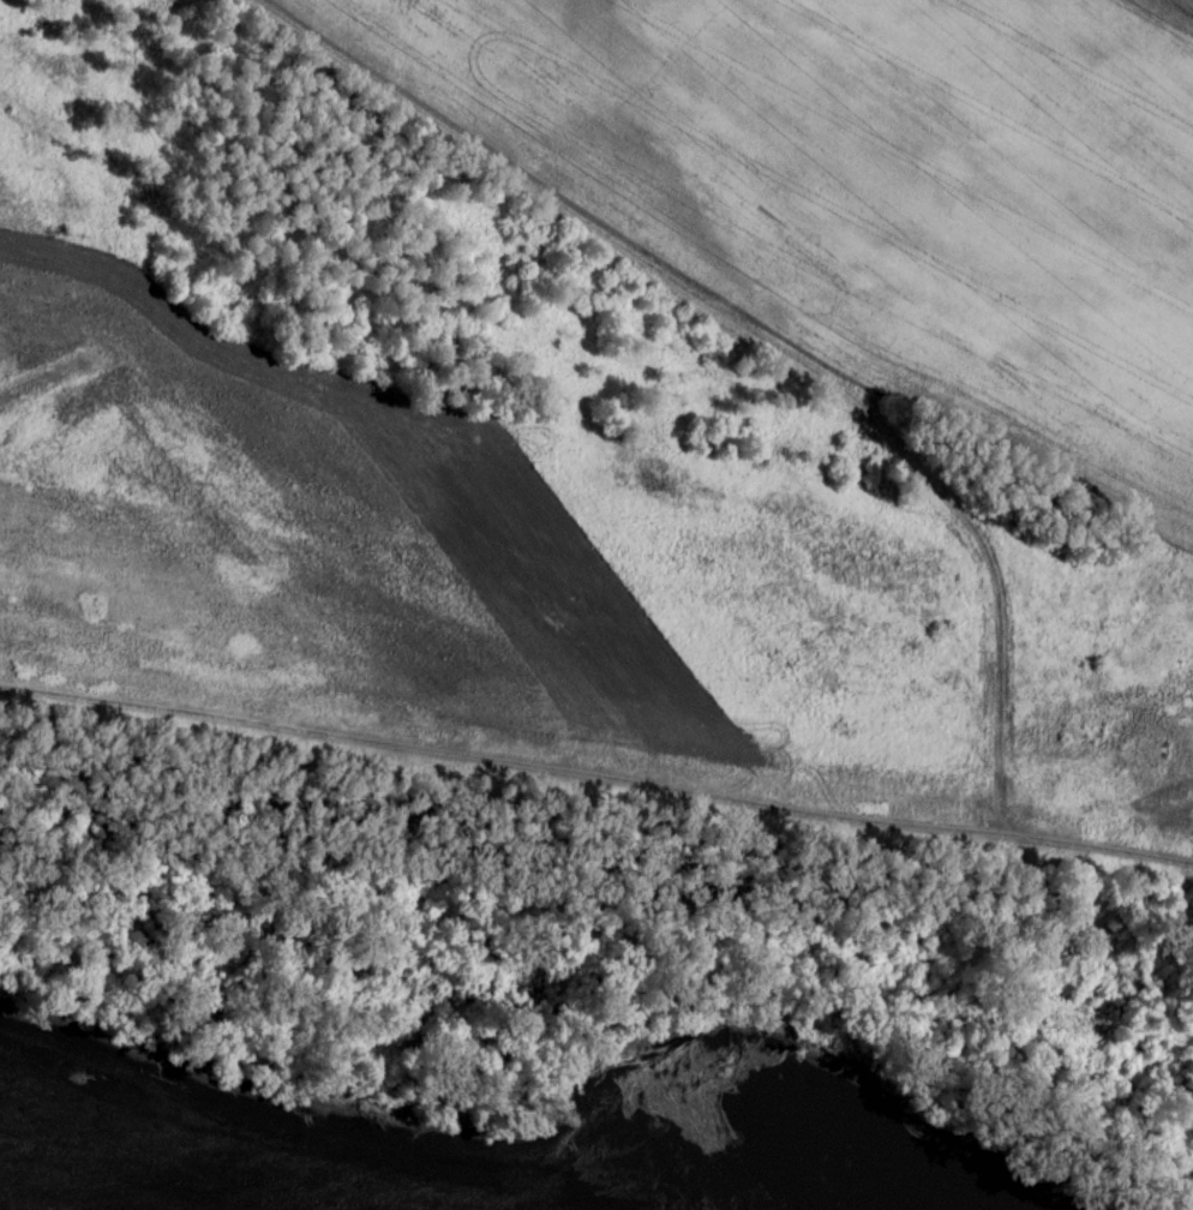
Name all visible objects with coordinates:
road: (595, 775)

